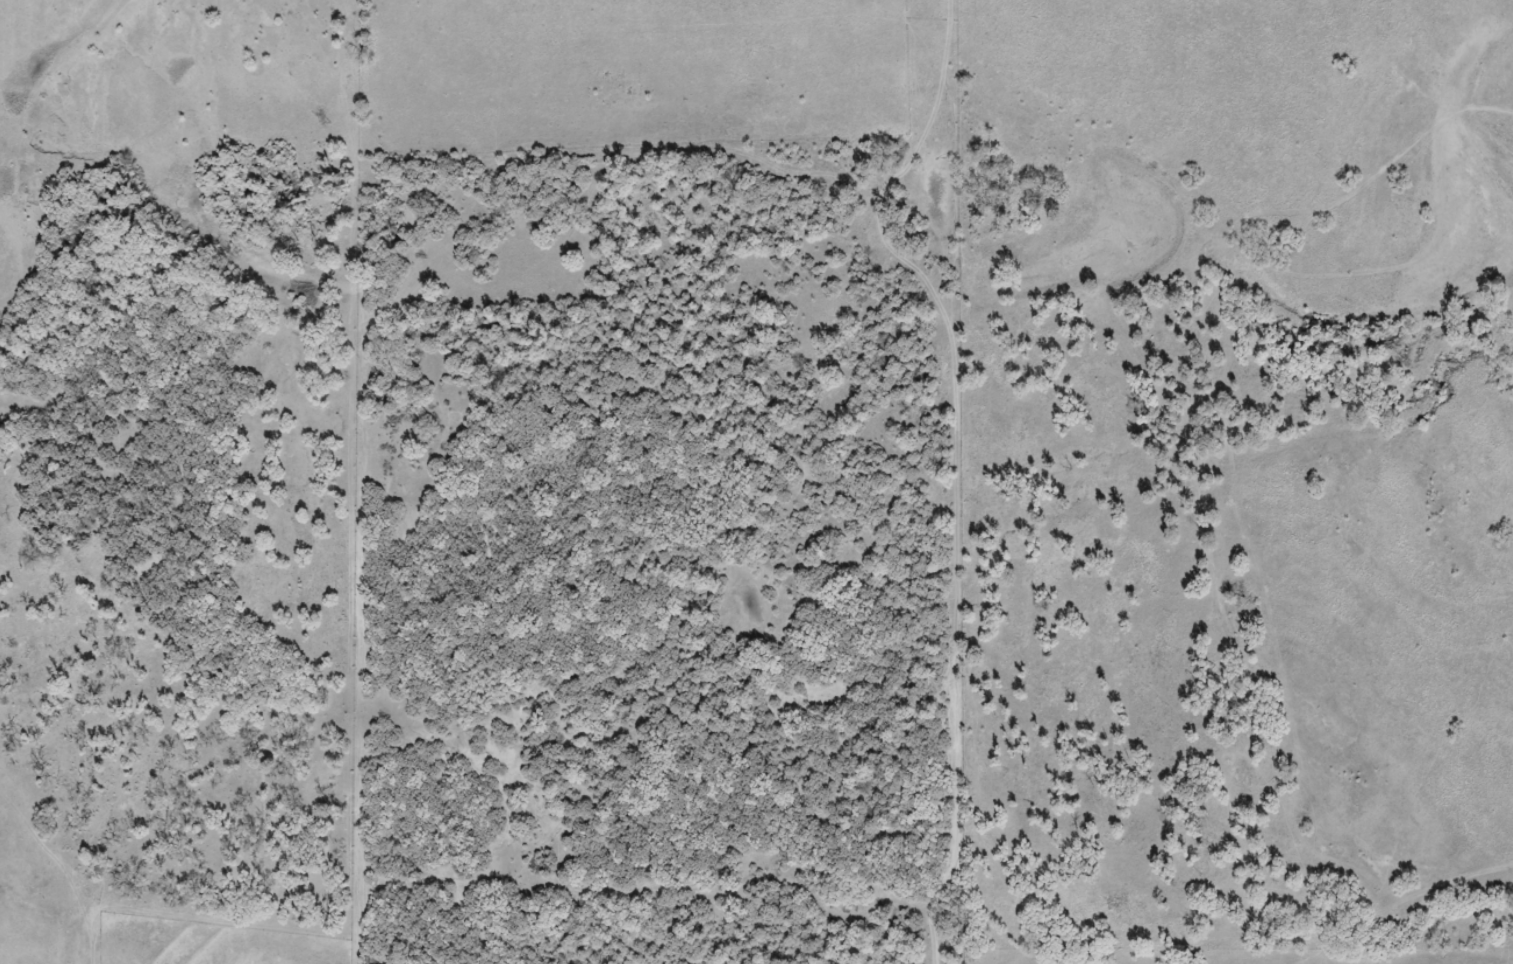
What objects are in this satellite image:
road: (949, 473)

